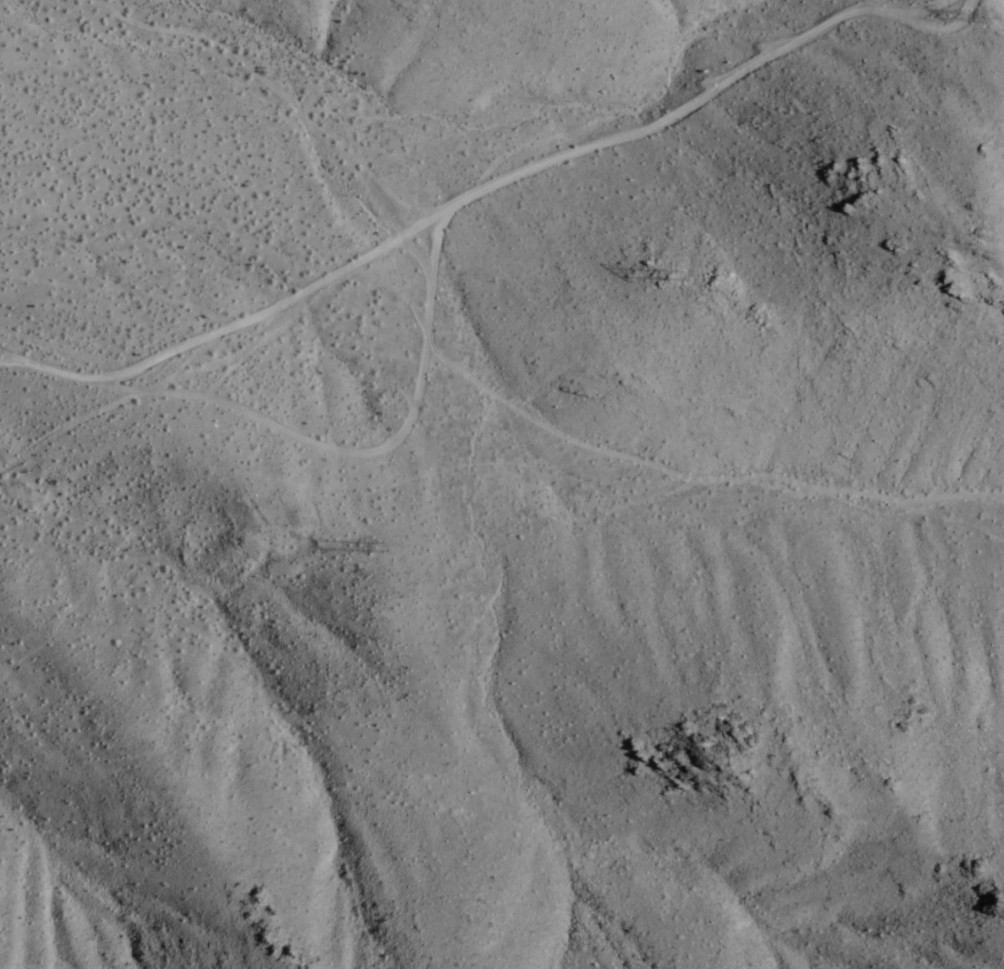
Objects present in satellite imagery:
road: (715, 100)
power tower: (698, 273)
road: (258, 322)
road: (17, 366)
road: (370, 457)
power tower: (368, 547)

